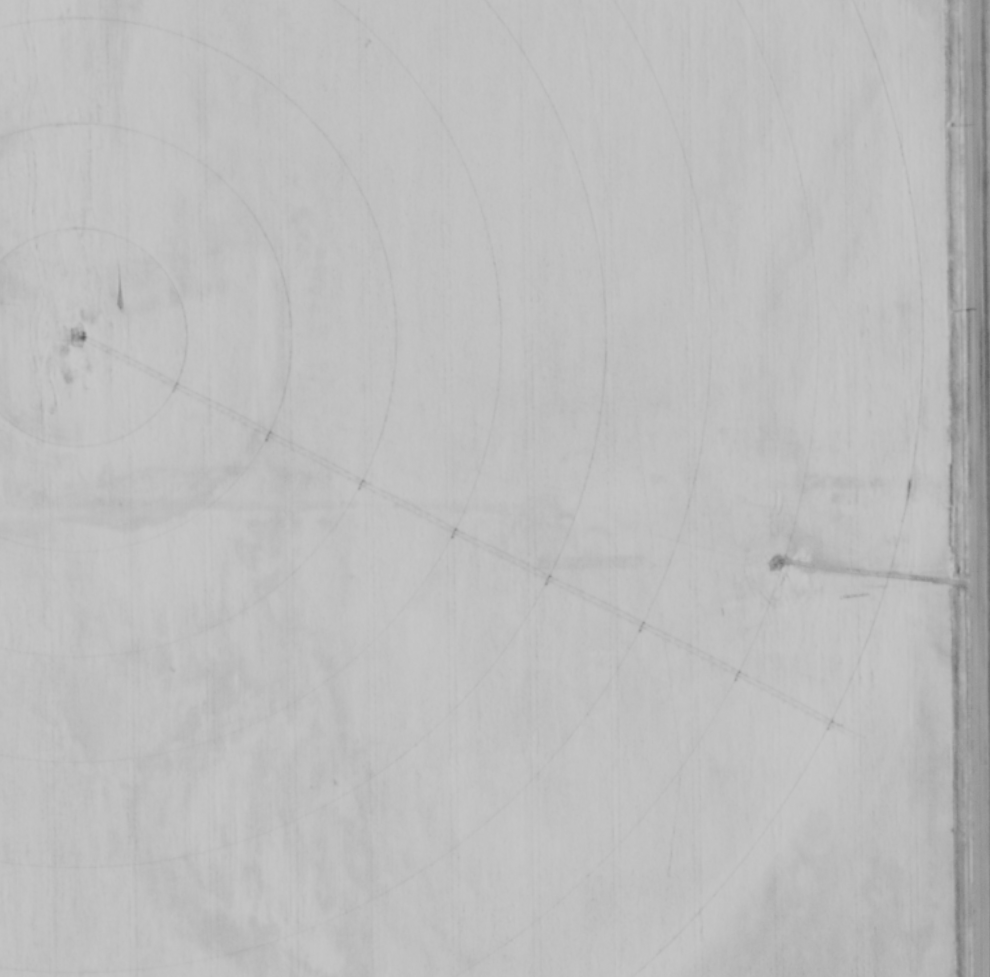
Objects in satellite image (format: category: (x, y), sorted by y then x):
road: (969, 488)

